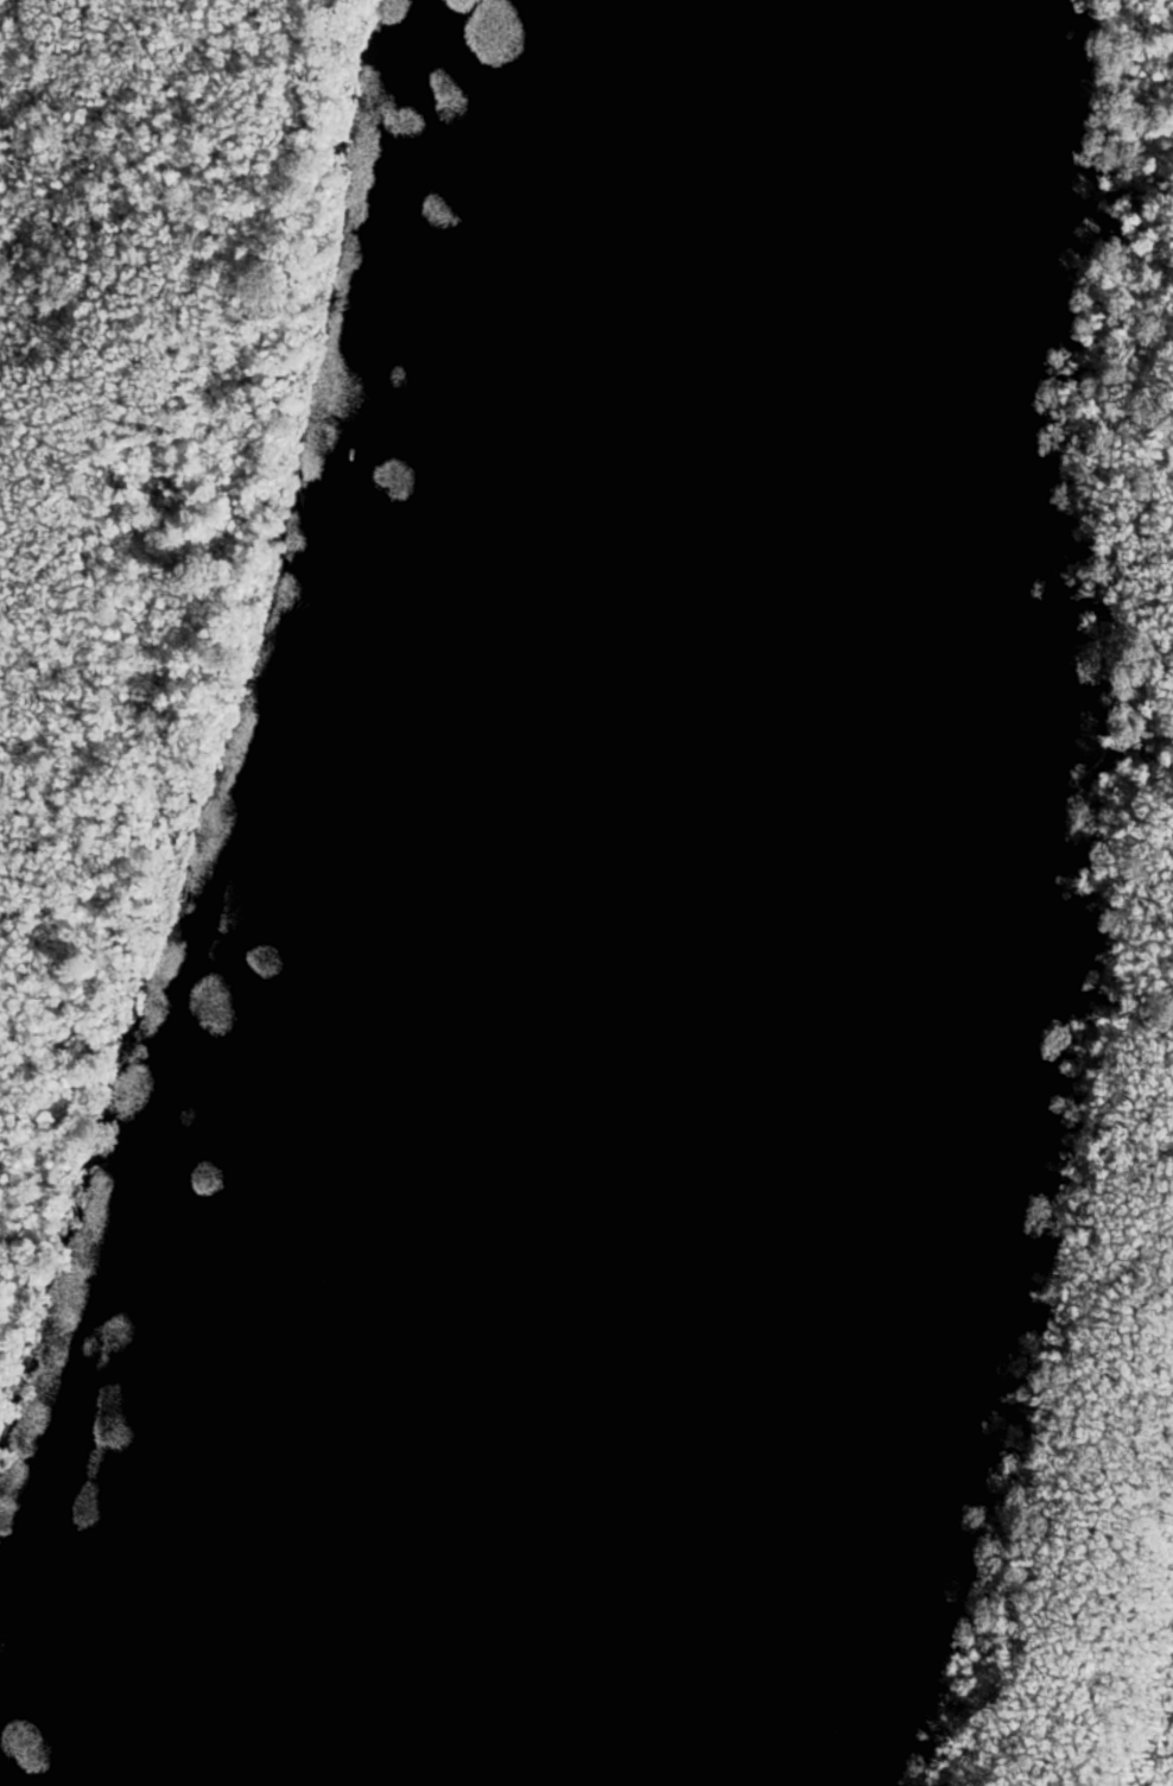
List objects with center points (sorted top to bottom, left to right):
river: (645, 906)

